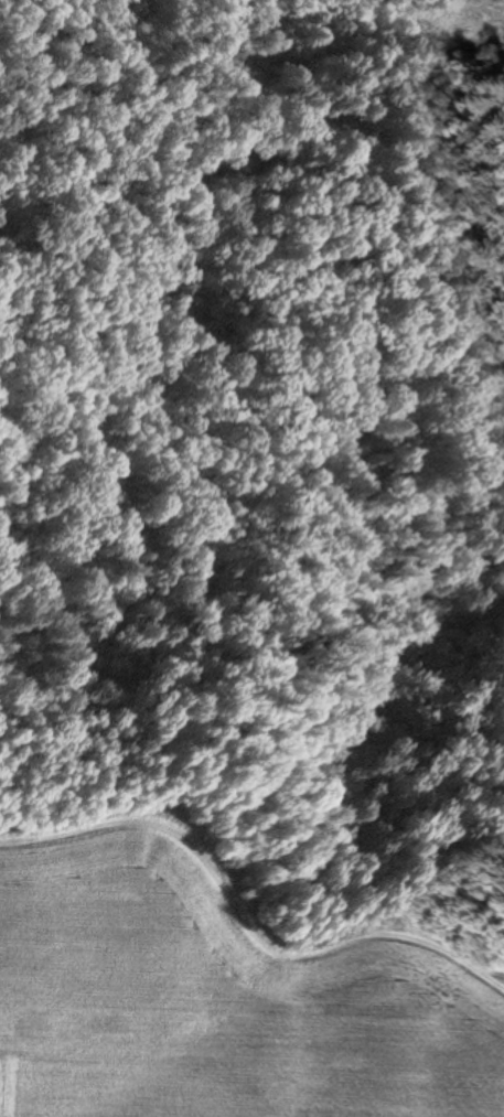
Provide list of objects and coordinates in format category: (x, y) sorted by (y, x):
road: (237, 922)

